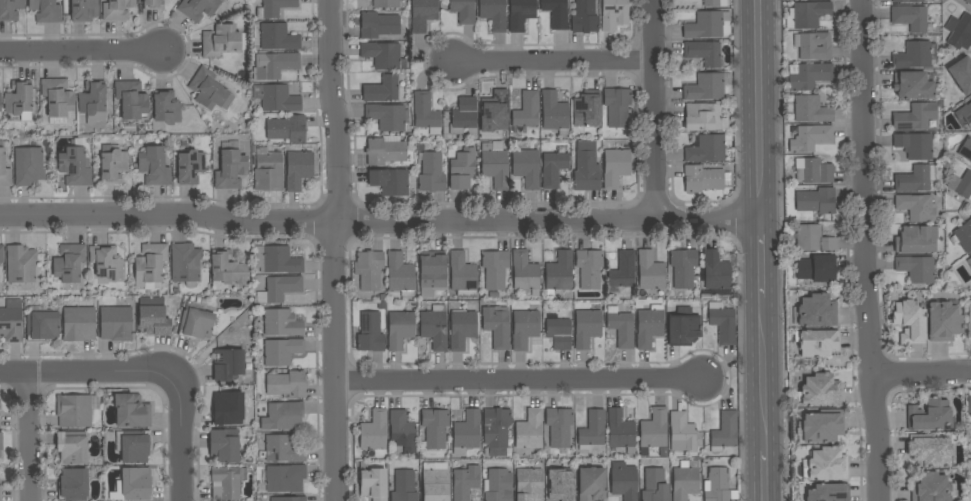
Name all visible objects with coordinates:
building: (906, 1)
building: (968, 2)
building: (385, 3)
building: (711, 3)
building: (153, 5)
building: (197, 8)
building: (274, 8)
building: (10, 9)
building: (84, 10)
building: (116, 10)
building: (46, 11)
building: (463, 11)
building: (556, 13)
building: (423, 14)
building: (493, 14)
building: (520, 14)
building: (614, 14)
building: (807, 15)
building: (584, 17)
building: (910, 18)
building: (379, 25)
building: (706, 25)
building: (960, 26)
building: (275, 37)
building: (220, 40)
building: (813, 46)
building: (704, 52)
road: (82, 53)
building: (382, 55)
building: (915, 55)
road: (551, 61)
building: (277, 65)
building: (962, 74)
building: (810, 76)
building: (913, 85)
building: (707, 86)
building: (382, 89)
building: (209, 90)
building: (57, 97)
building: (92, 98)
building: (276, 98)
building: (131, 99)
building: (19, 100)
building: (0, 105)
building: (166, 107)
building: (617, 107)
road: (653, 109)
building: (527, 110)
road: (762, 110)
building: (811, 110)
building: (495, 111)
building: (586, 111)
road: (334, 112)
building: (426, 113)
building: (555, 113)
building: (964, 113)
building: (463, 115)
building: (387, 116)
building: (702, 117)
building: (915, 117)
building: (287, 129)
building: (810, 138)
building: (914, 145)
building: (707, 148)
building: (965, 150)
building: (385, 151)
building: (494, 164)
building: (75, 165)
building: (616, 165)
building: (28, 166)
building: (113, 166)
building: (154, 166)
building: (190, 167)
building: (526, 167)
building: (586, 167)
building: (553, 168)
building: (462, 169)
building: (230, 170)
building: (267, 170)
building: (298, 170)
building: (4, 171)
building: (813, 171)
building: (431, 172)
building: (704, 178)
building: (915, 179)
building: (389, 181)
building: (961, 185)
building: (816, 201)
building: (917, 207)
road: (381, 223)
building: (963, 236)
building: (810, 238)
building: (915, 240)
road: (780, 250)
road: (848, 250)
road: (864, 250)
building: (1, 253)
road: (764, 259)
building: (277, 260)
building: (106, 261)
building: (969, 261)
building: (69, 262)
building: (185, 262)
building: (20, 264)
building: (149, 264)
building: (228, 268)
building: (589, 268)
building: (683, 268)
building: (817, 268)
building: (916, 268)
building: (369, 269)
building: (495, 269)
building: (623, 270)
building: (650, 271)
building: (716, 271)
building: (524, 272)
building: (558, 273)
building: (400, 274)
building: (432, 274)
building: (462, 275)
building: (279, 289)
building: (817, 311)
building: (153, 316)
building: (969, 320)
building: (11, 321)
building: (196, 321)
building: (909, 321)
building: (943, 321)
building: (722, 322)
building: (78, 323)
building: (115, 323)
building: (281, 323)
building: (41, 324)
building: (497, 325)
building: (648, 326)
building: (434, 327)
building: (586, 327)
building: (620, 327)
building: (462, 328)
building: (524, 328)
building: (399, 329)
building: (683, 329)
building: (370, 332)
building: (558, 333)
building: (816, 343)
building: (282, 351)
road: (332, 362)
building: (231, 365)
road: (97, 372)
road: (766, 374)
road: (921, 374)
road: (519, 380)
building: (287, 384)
building: (819, 391)
building: (969, 405)
building: (229, 408)
building: (73, 410)
building: (131, 411)
building: (929, 415)
building: (283, 416)
building: (559, 426)
building: (823, 426)
building: (434, 428)
building: (402, 430)
building: (529, 430)
building: (592, 430)
building: (496, 431)
building: (620, 431)
building: (653, 431)
building: (466, 432)
building: (681, 432)
building: (724, 432)
building: (373, 434)
road: (26, 437)
building: (1, 441)
building: (225, 445)
building: (133, 446)
building: (72, 447)
building: (0, 449)
building: (283, 449)
road: (180, 450)
building: (928, 450)
road: (894, 451)
building: (826, 465)
road: (767, 475)
building: (285, 478)
building: (685, 480)
building: (465, 481)
building: (226, 482)
building: (373, 483)
building: (435, 483)
building: (561, 483)
building: (624, 483)
building: (134, 484)
building: (591, 484)
building: (73, 485)
building: (498, 485)
building: (529, 485)
building: (404, 486)
building: (655, 486)
building: (718, 486)
building: (930, 487)
building: (0, 493)
building: (827, 493)
building: (288, 499)

